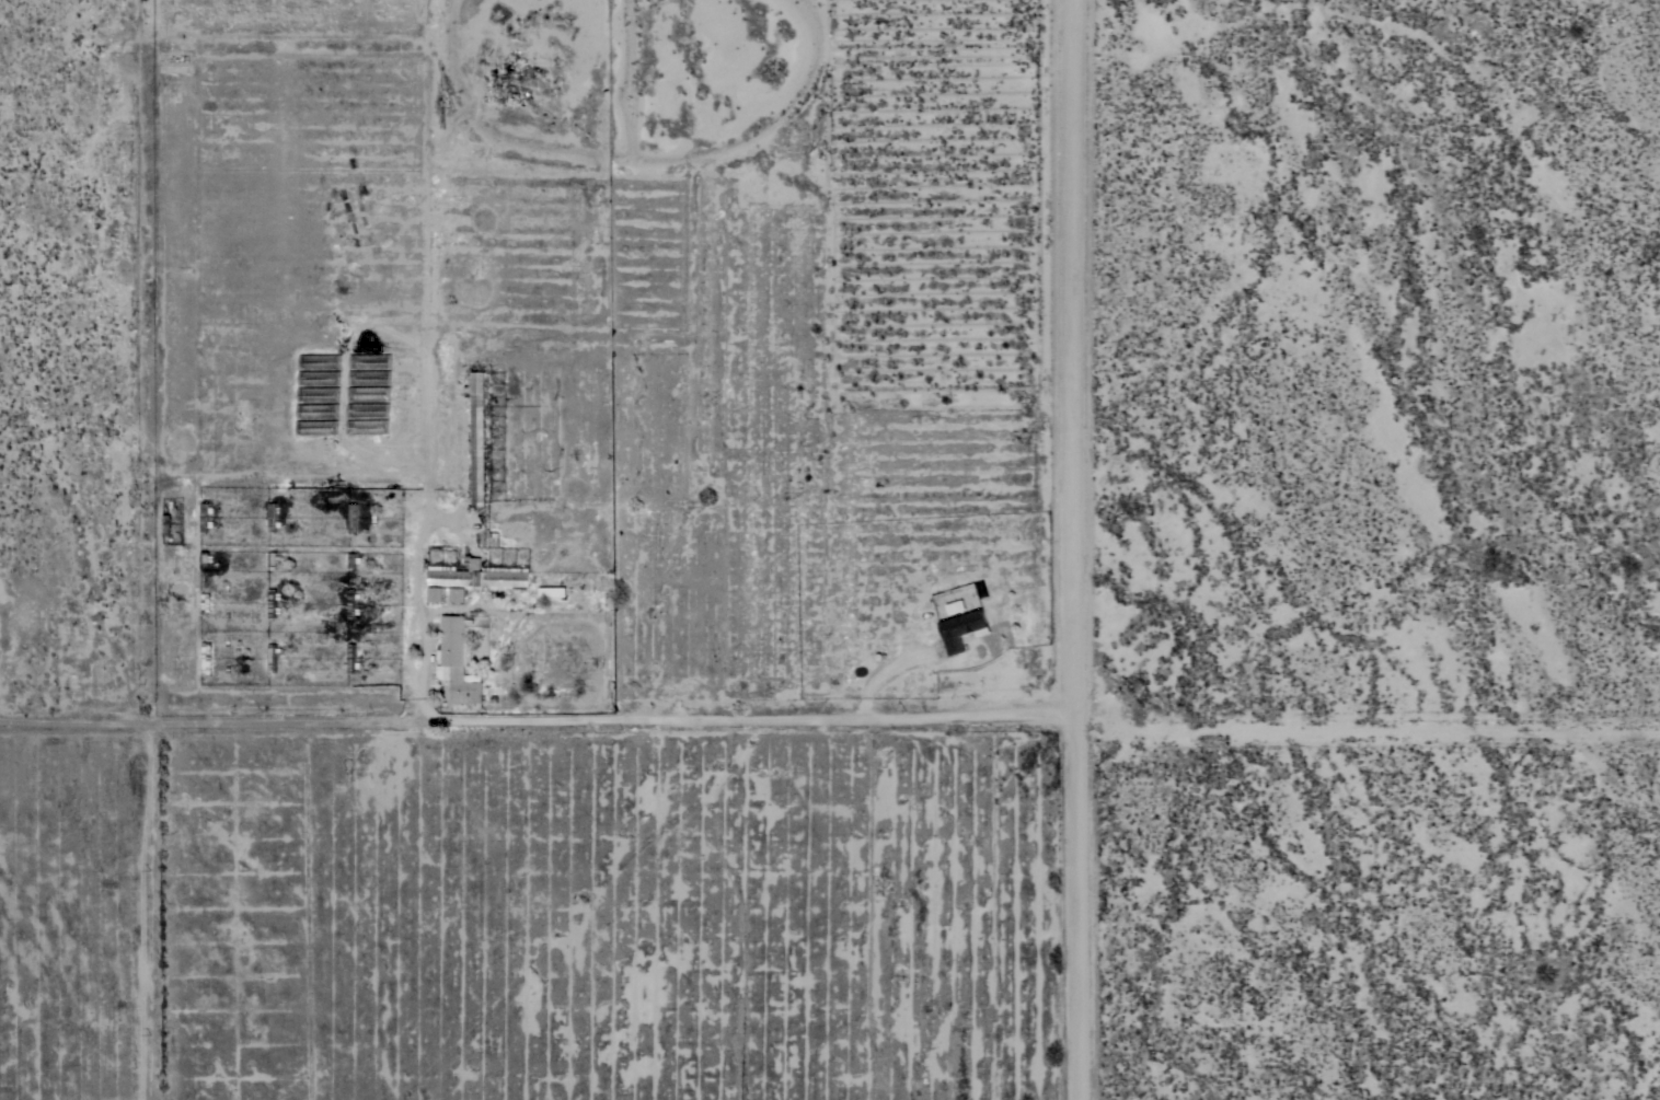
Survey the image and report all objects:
building: (476, 439)
building: (205, 517)
building: (273, 517)
building: (353, 517)
building: (165, 524)
road: (1076, 549)
building: (477, 576)
building: (552, 591)
building: (448, 594)
building: (205, 602)
building: (273, 602)
building: (351, 604)
road: (408, 623)
building: (960, 629)
building: (272, 657)
building: (351, 658)
building: (205, 659)
building: (458, 662)
road: (788, 716)
road: (250, 719)

